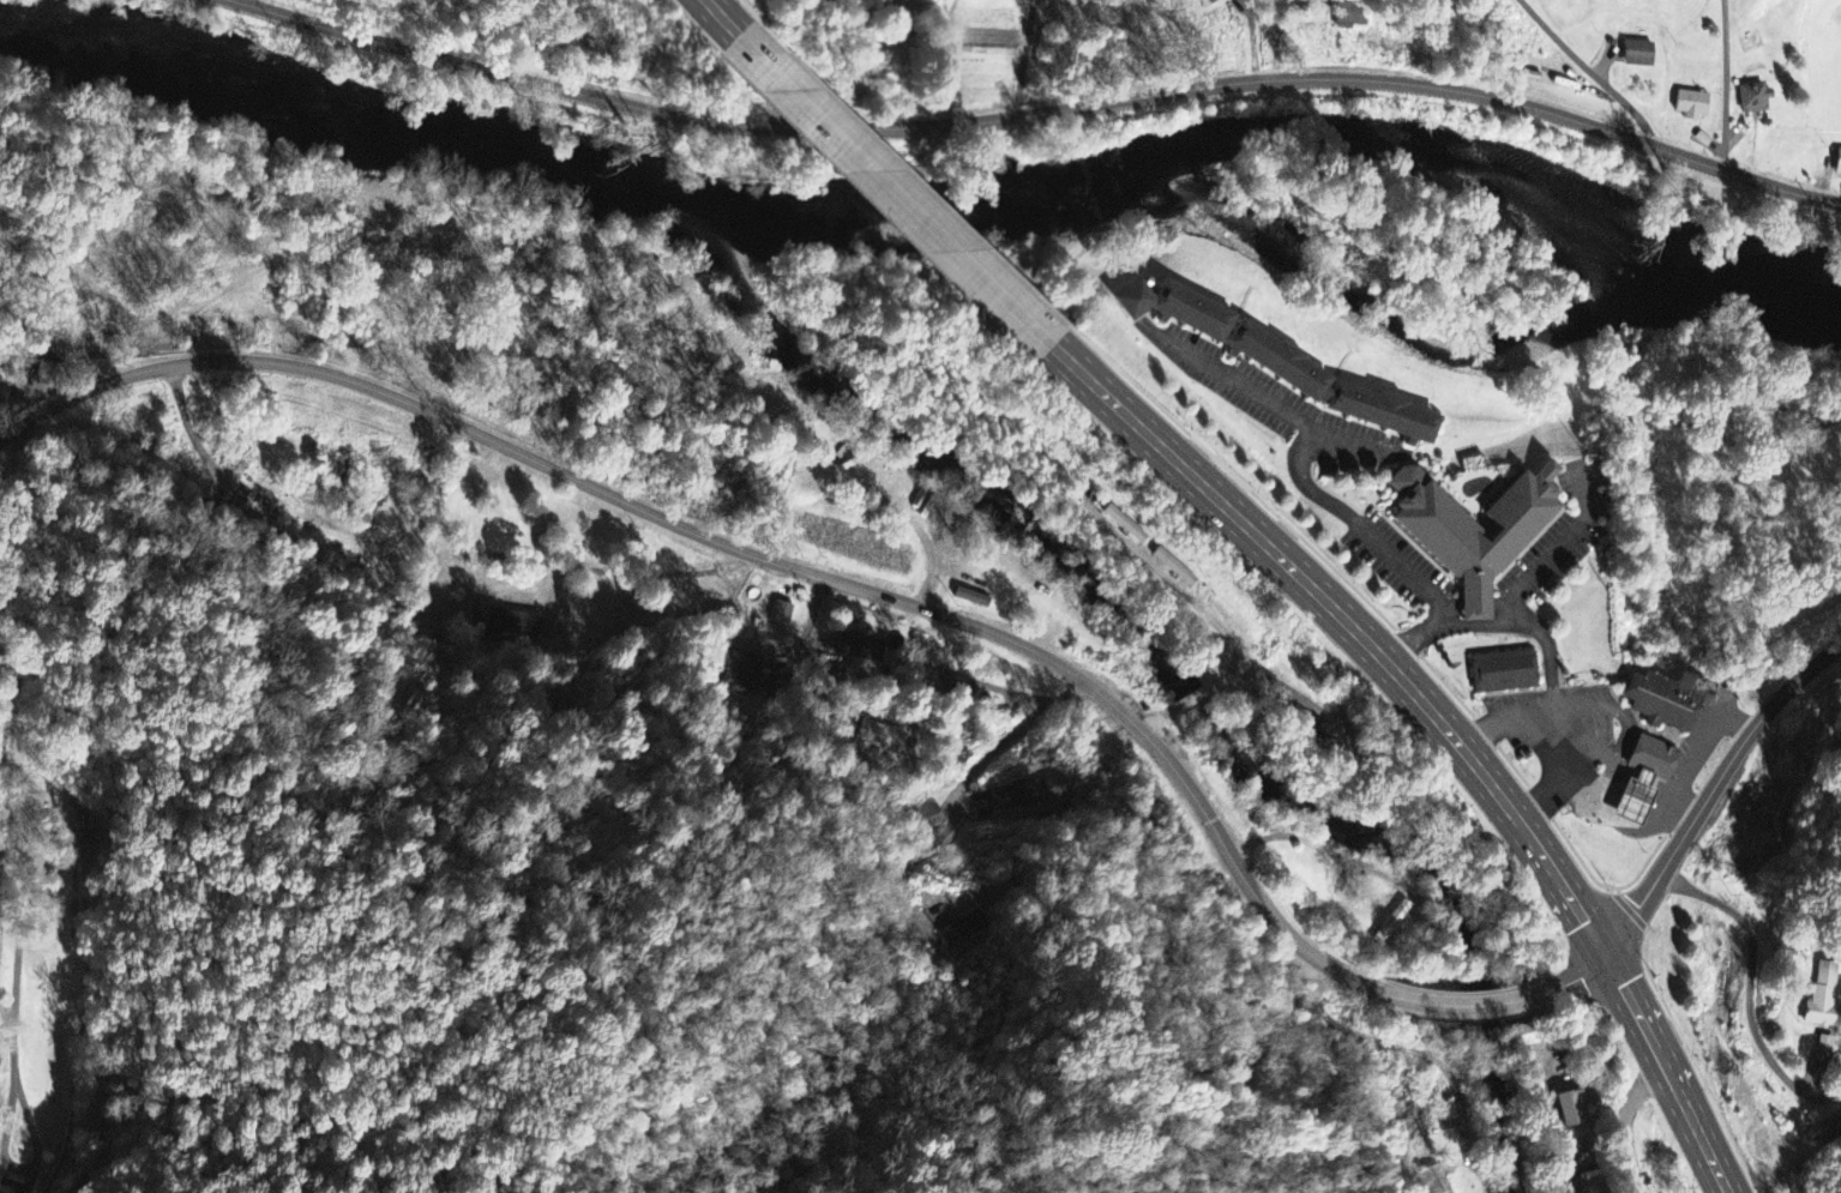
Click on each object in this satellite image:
building: (903, 4)
road: (721, 17)
building: (1353, 17)
building: (576, 37)
building: (1638, 55)
road: (1027, 58)
road: (1590, 73)
building: (867, 77)
road: (1726, 83)
road: (1436, 88)
building: (1753, 100)
road: (619, 102)
building: (1691, 107)
river: (353, 120)
river: (1420, 139)
building: (1840, 176)
road: (891, 189)
river: (934, 192)
river: (1747, 258)
building: (1174, 303)
building: (1277, 358)
road: (1270, 400)
building: (1382, 411)
building: (1473, 522)
road: (1361, 524)
building: (1126, 526)
road: (1560, 546)
road: (745, 550)
building: (1177, 570)
road: (1503, 610)
building: (781, 615)
building: (512, 626)
road: (1352, 628)
road: (1416, 635)
building: (864, 651)
building: (744, 674)
building: (1503, 674)
road: (1552, 698)
building: (1663, 701)
building: (883, 737)
building: (1642, 781)
road: (1715, 789)
road: (962, 794)
building: (1028, 795)
building: (927, 814)
road: (18, 855)
building: (1394, 924)
building: (965, 930)
traffic signals: (1610, 951)
road: (1588, 972)
road: (1750, 987)
building: (1824, 999)
road: (1470, 1006)
building: (1825, 1046)
road: (1669, 1072)
building: (1570, 1110)
road: (1623, 1121)
building: (18, 1189)

